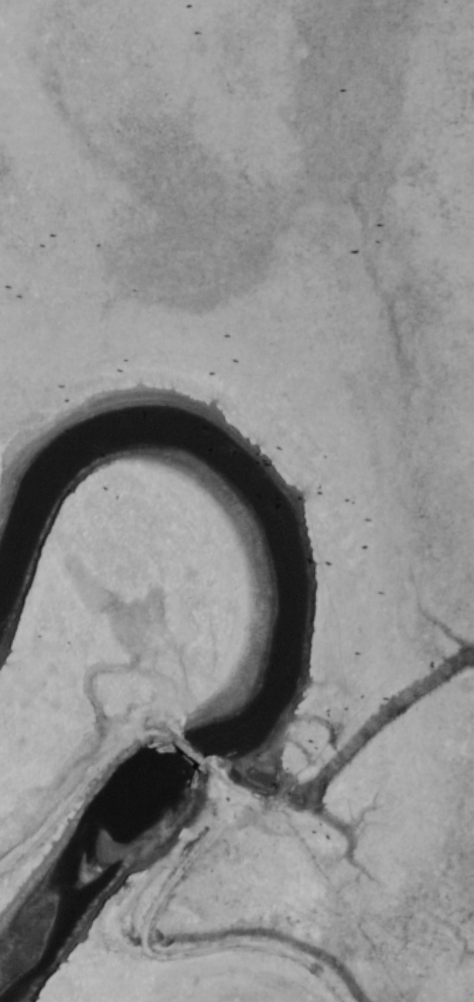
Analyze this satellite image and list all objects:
river: (275, 628)

